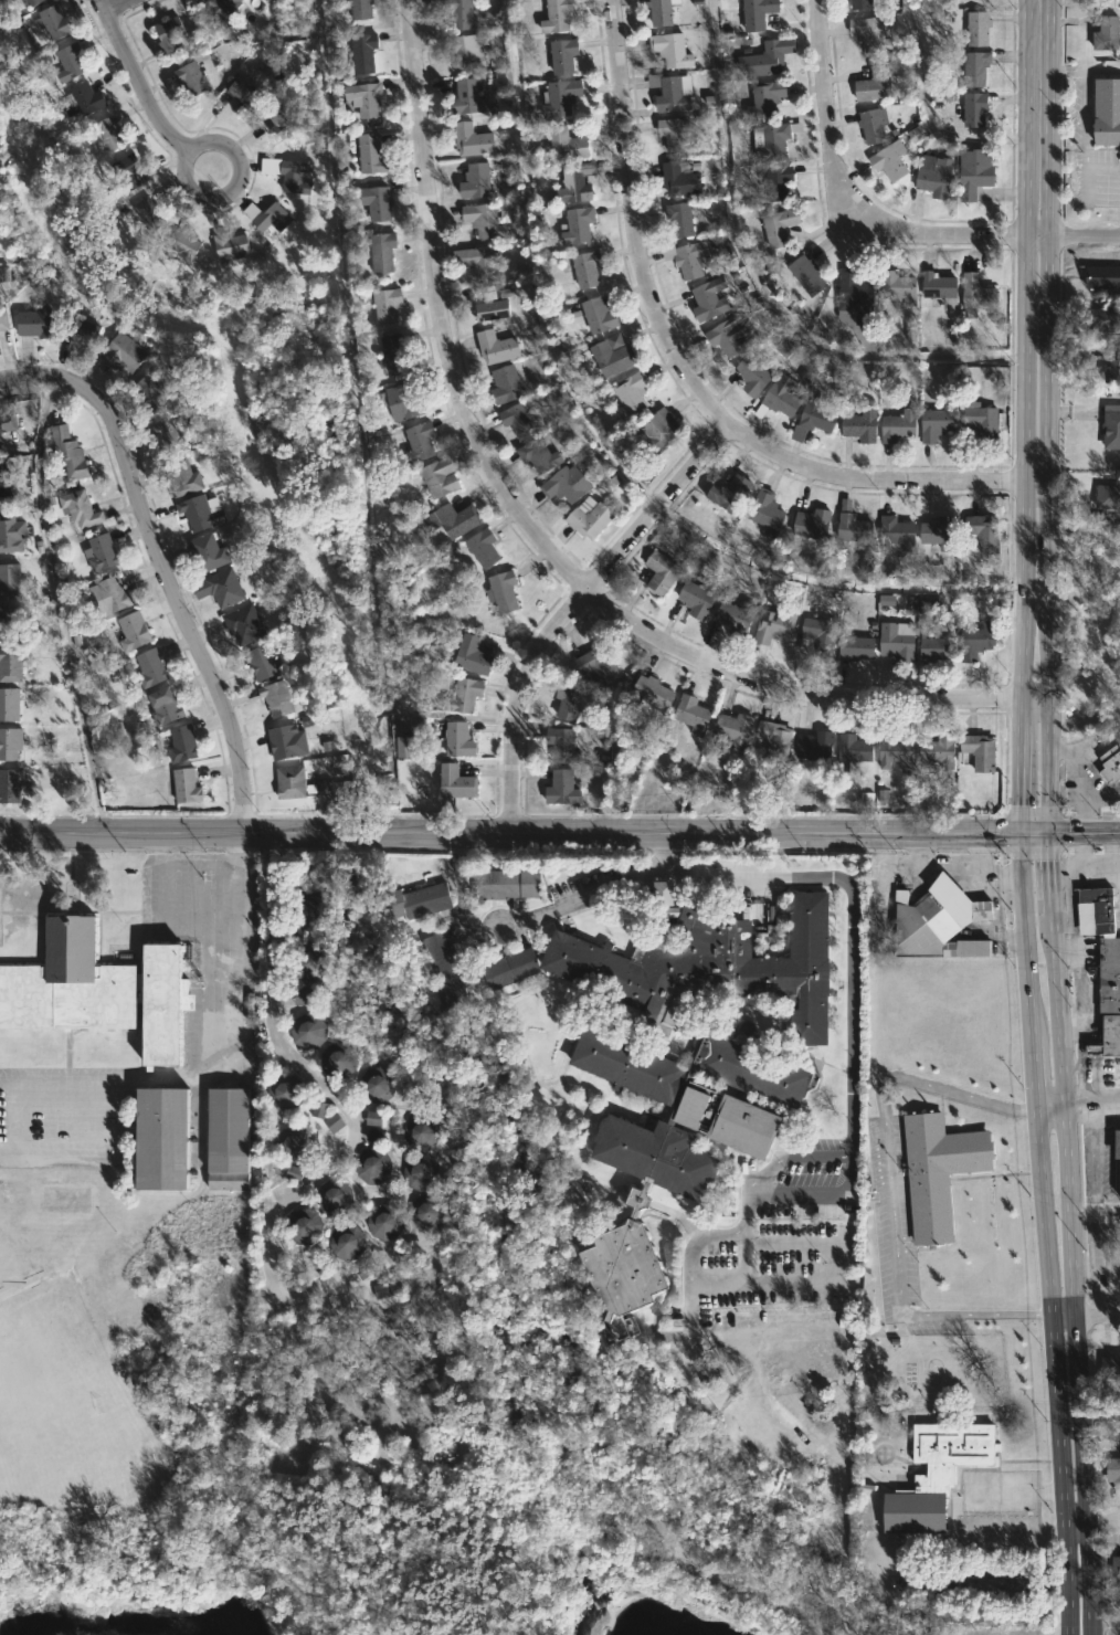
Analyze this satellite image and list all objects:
building: (975, 0)
building: (36, 2)
building: (858, 3)
road: (119, 7)
building: (359, 9)
building: (223, 10)
building: (664, 12)
building: (462, 13)
building: (753, 13)
building: (556, 15)
building: (54, 19)
building: (976, 27)
building: (1106, 32)
building: (869, 33)
building: (166, 34)
building: (670, 49)
building: (466, 51)
building: (363, 53)
building: (562, 55)
building: (764, 57)
building: (71, 61)
building: (974, 66)
road: (1099, 71)
road: (136, 76)
building: (191, 76)
building: (874, 83)
building: (242, 92)
building: (670, 93)
building: (85, 95)
building: (471, 96)
building: (560, 96)
building: (764, 97)
building: (367, 98)
building: (973, 108)
road: (926, 109)
building: (1107, 110)
road: (1082, 116)
building: (279, 120)
building: (870, 125)
road: (832, 131)
building: (107, 134)
building: (679, 135)
building: (471, 138)
building: (770, 138)
road: (203, 139)
building: (570, 144)
building: (370, 152)
building: (889, 160)
building: (127, 168)
building: (974, 171)
building: (293, 176)
building: (684, 177)
building: (936, 177)
building: (478, 181)
building: (776, 181)
building: (579, 183)
building: (376, 201)
building: (147, 213)
building: (271, 217)
building: (678, 218)
building: (486, 221)
building: (581, 224)
building: (778, 225)
road: (1007, 236)
building: (179, 243)
building: (229, 245)
building: (381, 251)
building: (687, 260)
building: (477, 261)
building: (590, 268)
building: (804, 275)
building: (1101, 277)
building: (937, 284)
building: (898, 286)
road: (756, 287)
building: (855, 294)
building: (974, 295)
building: (708, 299)
building: (388, 306)
building: (492, 308)
building: (602, 315)
building: (3, 318)
building: (1100, 318)
building: (32, 323)
building: (81, 330)
building: (728, 337)
building: (498, 347)
building: (121, 351)
building: (399, 355)
building: (612, 355)
building: (1112, 366)
building: (752, 376)
road: (688, 377)
building: (508, 383)
building: (150, 390)
building: (633, 394)
building: (404, 400)
building: (776, 401)
building: (811, 418)
road: (1022, 418)
building: (982, 419)
building: (520, 420)
building: (7, 422)
building: (934, 422)
building: (858, 424)
building: (895, 426)
building: (1111, 426)
building: (663, 431)
building: (168, 439)
building: (418, 442)
building: (0, 446)
building: (71, 452)
building: (541, 455)
building: (183, 476)
building: (443, 477)
building: (7, 481)
building: (569, 484)
building: (727, 494)
building: (1107, 497)
building: (78, 509)
building: (200, 511)
building: (765, 513)
building: (592, 518)
building: (454, 521)
building: (811, 524)
building: (849, 525)
building: (896, 532)
building: (938, 532)
building: (983, 532)
building: (13, 534)
road: (535, 535)
building: (486, 548)
building: (207, 552)
building: (98, 553)
road: (162, 565)
building: (656, 573)
building: (10, 581)
road: (831, 583)
building: (223, 588)
building: (505, 592)
building: (106, 594)
building: (693, 599)
road: (57, 603)
road: (570, 606)
building: (736, 616)
building: (772, 623)
building: (10, 624)
building: (246, 624)
building: (136, 632)
building: (815, 636)
building: (973, 641)
building: (895, 645)
building: (931, 647)
building: (853, 648)
building: (475, 656)
building: (266, 664)
building: (12, 665)
building: (599, 666)
building: (146, 668)
building: (648, 692)
building: (463, 695)
building: (277, 699)
building: (572, 700)
building: (9, 704)
building: (168, 707)
building: (690, 715)
building: (733, 729)
building: (457, 740)
building: (774, 740)
building: (289, 742)
building: (852, 743)
building: (11, 745)
building: (184, 745)
building: (561, 745)
building: (813, 746)
building: (406, 747)
building: (894, 749)
building: (937, 749)
building: (980, 751)
building: (1109, 764)
building: (458, 783)
building: (305, 784)
building: (11, 787)
building: (184, 787)
building: (564, 788)
road: (1044, 818)
road: (509, 834)
traffic signals: (1019, 835)
traffic signals: (1044, 835)
road: (1069, 835)
road: (1081, 865)
building: (506, 883)
road: (580, 899)
building: (410, 901)
building: (1095, 910)
building: (310, 911)
road: (847, 922)
building: (934, 922)
road: (176, 931)
road: (231, 952)
building: (696, 962)
building: (308, 963)
building: (447, 971)
building: (95, 988)
building: (1109, 995)
building: (307, 998)
building: (310, 1031)
building: (340, 1059)
building: (378, 1085)
building: (286, 1090)
road: (326, 1094)
road: (1089, 1107)
road: (1047, 1108)
building: (320, 1110)
road: (57, 1120)
building: (335, 1124)
building: (422, 1132)
building: (157, 1137)
building: (225, 1138)
building: (672, 1140)
building: (295, 1143)
building: (1116, 1154)
road: (788, 1156)
building: (373, 1164)
building: (421, 1171)
building: (938, 1171)
road: (887, 1191)
road: (800, 1192)
building: (336, 1196)
road: (747, 1209)
building: (427, 1212)
building: (385, 1222)
building: (306, 1225)
road: (1044, 1234)
building: (349, 1242)
road: (836, 1267)
road: (698, 1283)
road: (369, 1296)
road: (1085, 1317)
road: (728, 1331)
building: (680, 1361)
building: (1109, 1364)
road: (1100, 1417)
building: (1112, 1469)
building: (936, 1474)
road: (1013, 1491)
road: (1091, 1521)
building: (1116, 1568)
road: (742, 1592)
river: (648, 1621)
river: (232, 1624)

